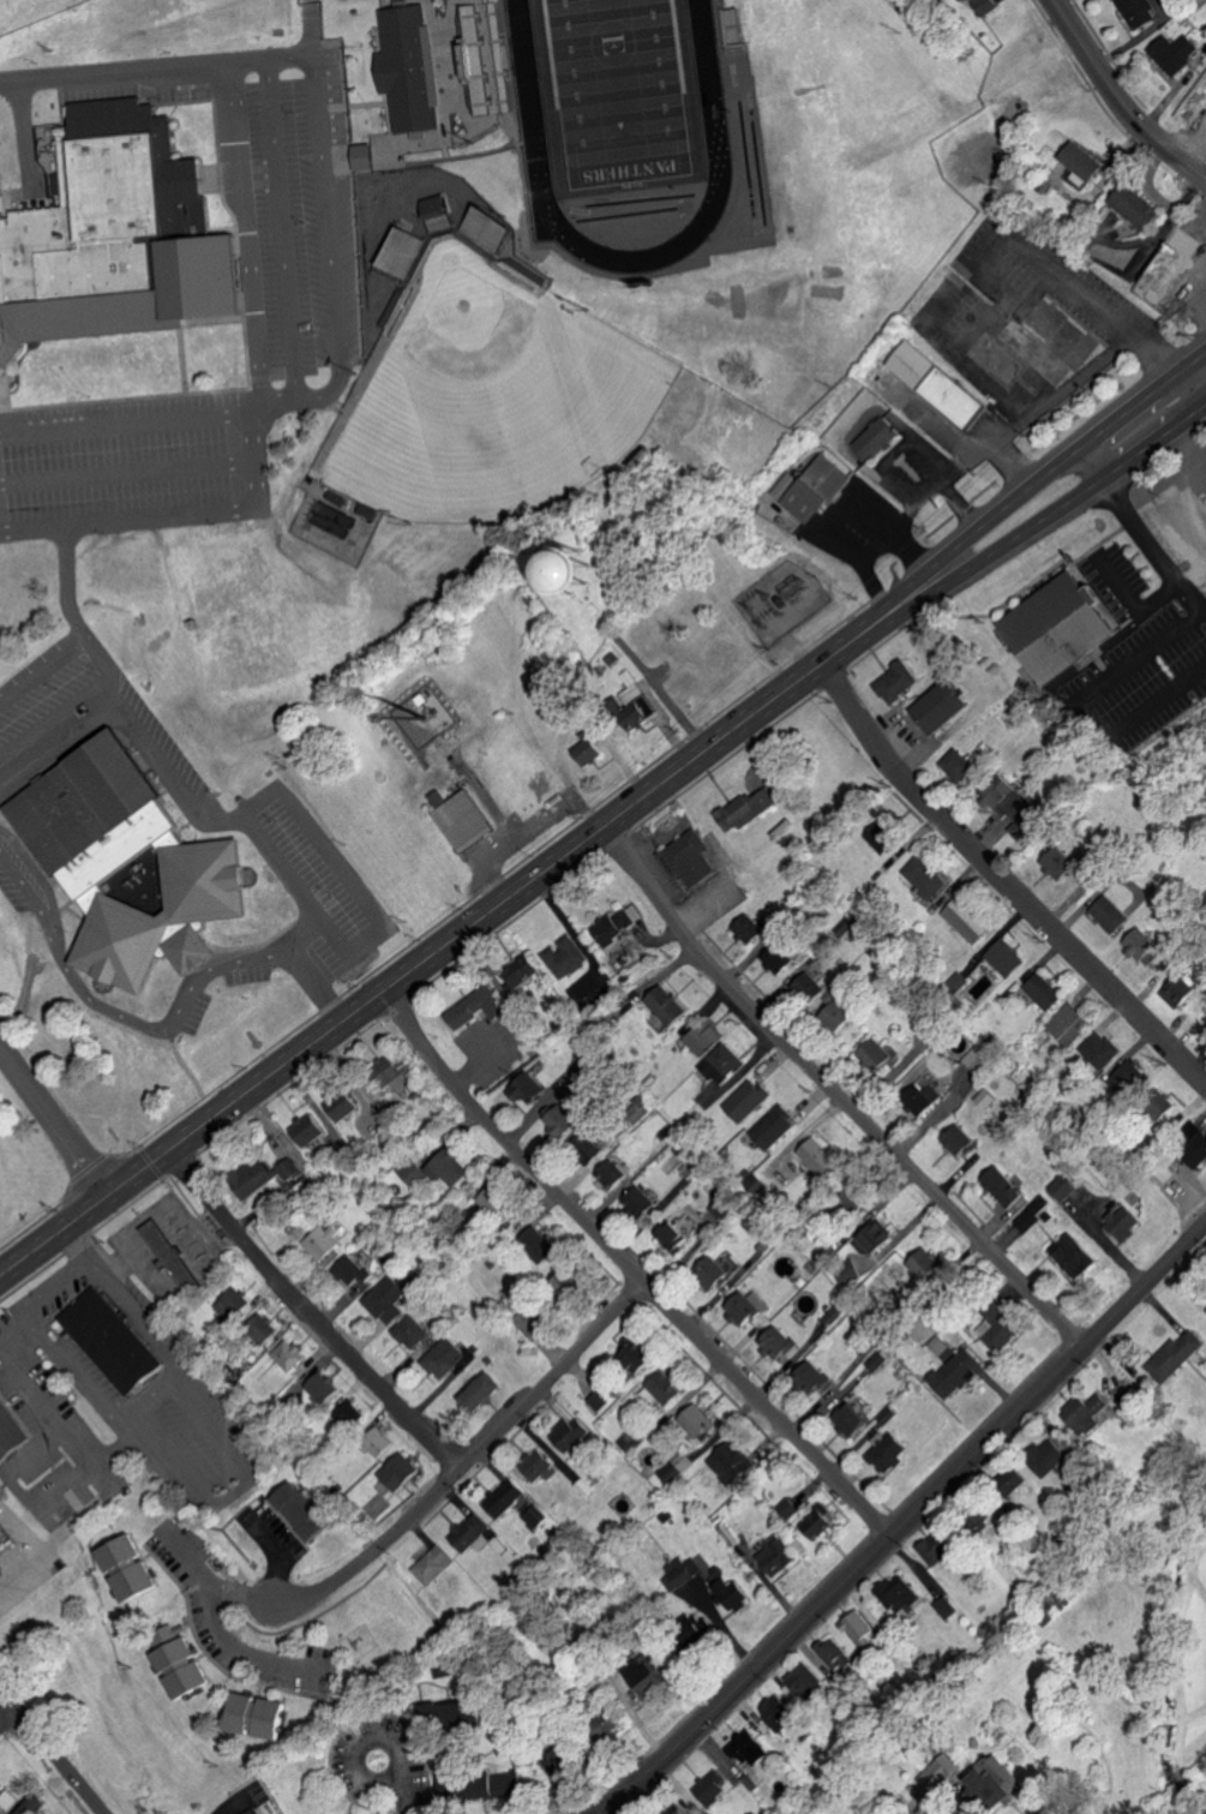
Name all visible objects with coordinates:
building: (961, 0)
building: (988, 6)
building: (1138, 12)
park: (40, 18)
building: (1174, 53)
building: (412, 67)
track: (526, 85)
park: (619, 97)
road: (1114, 103)
road: (1188, 138)
building: (365, 156)
building: (1082, 160)
building: (1076, 179)
building: (1138, 206)
parking lot: (300, 210)
building: (440, 211)
road: (328, 212)
building: (481, 222)
road: (280, 232)
building: (115, 239)
building: (404, 251)
building: (1166, 271)
road: (247, 306)
road: (1096, 365)
building: (938, 384)
park: (491, 399)
road: (127, 418)
building: (876, 437)
road: (982, 449)
road: (128, 456)
parking lot: (125, 459)
road: (1055, 466)
building: (817, 489)
road: (930, 489)
road: (128, 491)
road: (1061, 507)
road: (1141, 525)
road: (877, 553)
water tower: (566, 570)
building: (587, 571)
road: (70, 585)
building: (1061, 627)
building: (899, 682)
road: (1160, 698)
building: (943, 706)
building: (640, 713)
building: (584, 747)
building: (960, 765)
road: (200, 801)
building: (1018, 804)
building: (749, 809)
building: (464, 820)
building: (884, 838)
building: (692, 858)
building: (125, 864)
building: (1061, 864)
building: (926, 878)
road: (1003, 885)
building: (1112, 915)
building: (970, 920)
building: (620, 924)
building: (750, 929)
road: (454, 934)
building: (1140, 945)
building: (566, 957)
building: (1008, 957)
building: (778, 966)
building: (521, 972)
building: (811, 988)
building: (1045, 992)
building: (670, 1006)
building: (475, 1007)
road: (115, 1012)
building: (842, 1020)
building: (1068, 1024)
building: (703, 1035)
building: (1100, 1049)
building: (877, 1055)
building: (978, 1058)
building: (386, 1064)
building: (725, 1064)
building: (1127, 1078)
building: (397, 1082)
building: (528, 1090)
road: (835, 1094)
building: (748, 1100)
building: (924, 1100)
building: (342, 1108)
road: (55, 1114)
building: (563, 1121)
building: (775, 1127)
building: (311, 1131)
building: (960, 1141)
building: (1195, 1143)
building: (587, 1148)
building: (821, 1157)
building: (449, 1167)
building: (413, 1173)
building: (611, 1175)
building: (263, 1178)
building: (1004, 1187)
building: (1066, 1187)
building: (492, 1199)
building: (638, 1203)
building: (724, 1207)
road: (150, 1214)
building: (1126, 1222)
building: (676, 1235)
building: (878, 1238)
building: (325, 1240)
building: (540, 1244)
building: (1075, 1256)
building: (173, 1257)
building: (928, 1265)
road: (630, 1269)
building: (350, 1271)
building: (712, 1271)
road: (66, 1285)
building: (566, 1286)
building: (385, 1300)
building: (234, 1305)
building: (746, 1307)
road: (308, 1313)
building: (528, 1324)
building: (264, 1328)
building: (998, 1330)
building: (409, 1331)
building: (114, 1341)
building: (778, 1342)
building: (636, 1354)
building: (292, 1355)
building: (1176, 1357)
building: (448, 1358)
building: (878, 1361)
building: (956, 1373)
building: (812, 1377)
building: (322, 1388)
building: (481, 1390)
building: (664, 1390)
road: (148, 1395)
building: (600, 1399)
building: (349, 1415)
building: (1088, 1415)
building: (853, 1420)
building: (700, 1421)
building: (572, 1432)
building: (10, 1433)
building: (628, 1439)
building: (378, 1442)
building: (890, 1451)
building: (1050, 1457)
building: (732, 1462)
building: (680, 1463)
building: (539, 1467)
road: (462, 1468)
building: (400, 1472)
road: (114, 1474)
building: (1020, 1478)
building: (505, 1498)
building: (790, 1508)
building: (304, 1513)
building: (823, 1523)
road: (907, 1525)
building: (469, 1532)
building: (2, 1540)
building: (938, 1551)
building: (122, 1553)
building: (778, 1556)
road: (274, 1557)
building: (433, 1565)
building: (683, 1574)
building: (138, 1580)
building: (728, 1590)
road: (228, 1593)
building: (1066, 1597)
building: (898, 1600)
building: (949, 1608)
road: (217, 1629)
building: (863, 1630)
building: (836, 1653)
building: (184, 1666)
building: (647, 1674)
building: (805, 1681)
building: (781, 1711)
building: (259, 1714)
road: (7, 1716)
road: (360, 1743)
building: (752, 1748)
road: (50, 1752)
building: (943, 1770)
building: (497, 1785)
building: (446, 1786)
building: (713, 1786)
building: (996, 1786)
building: (6, 1800)
road: (400, 1800)
building: (31, 1803)
building: (682, 1810)
building: (257, 1812)

